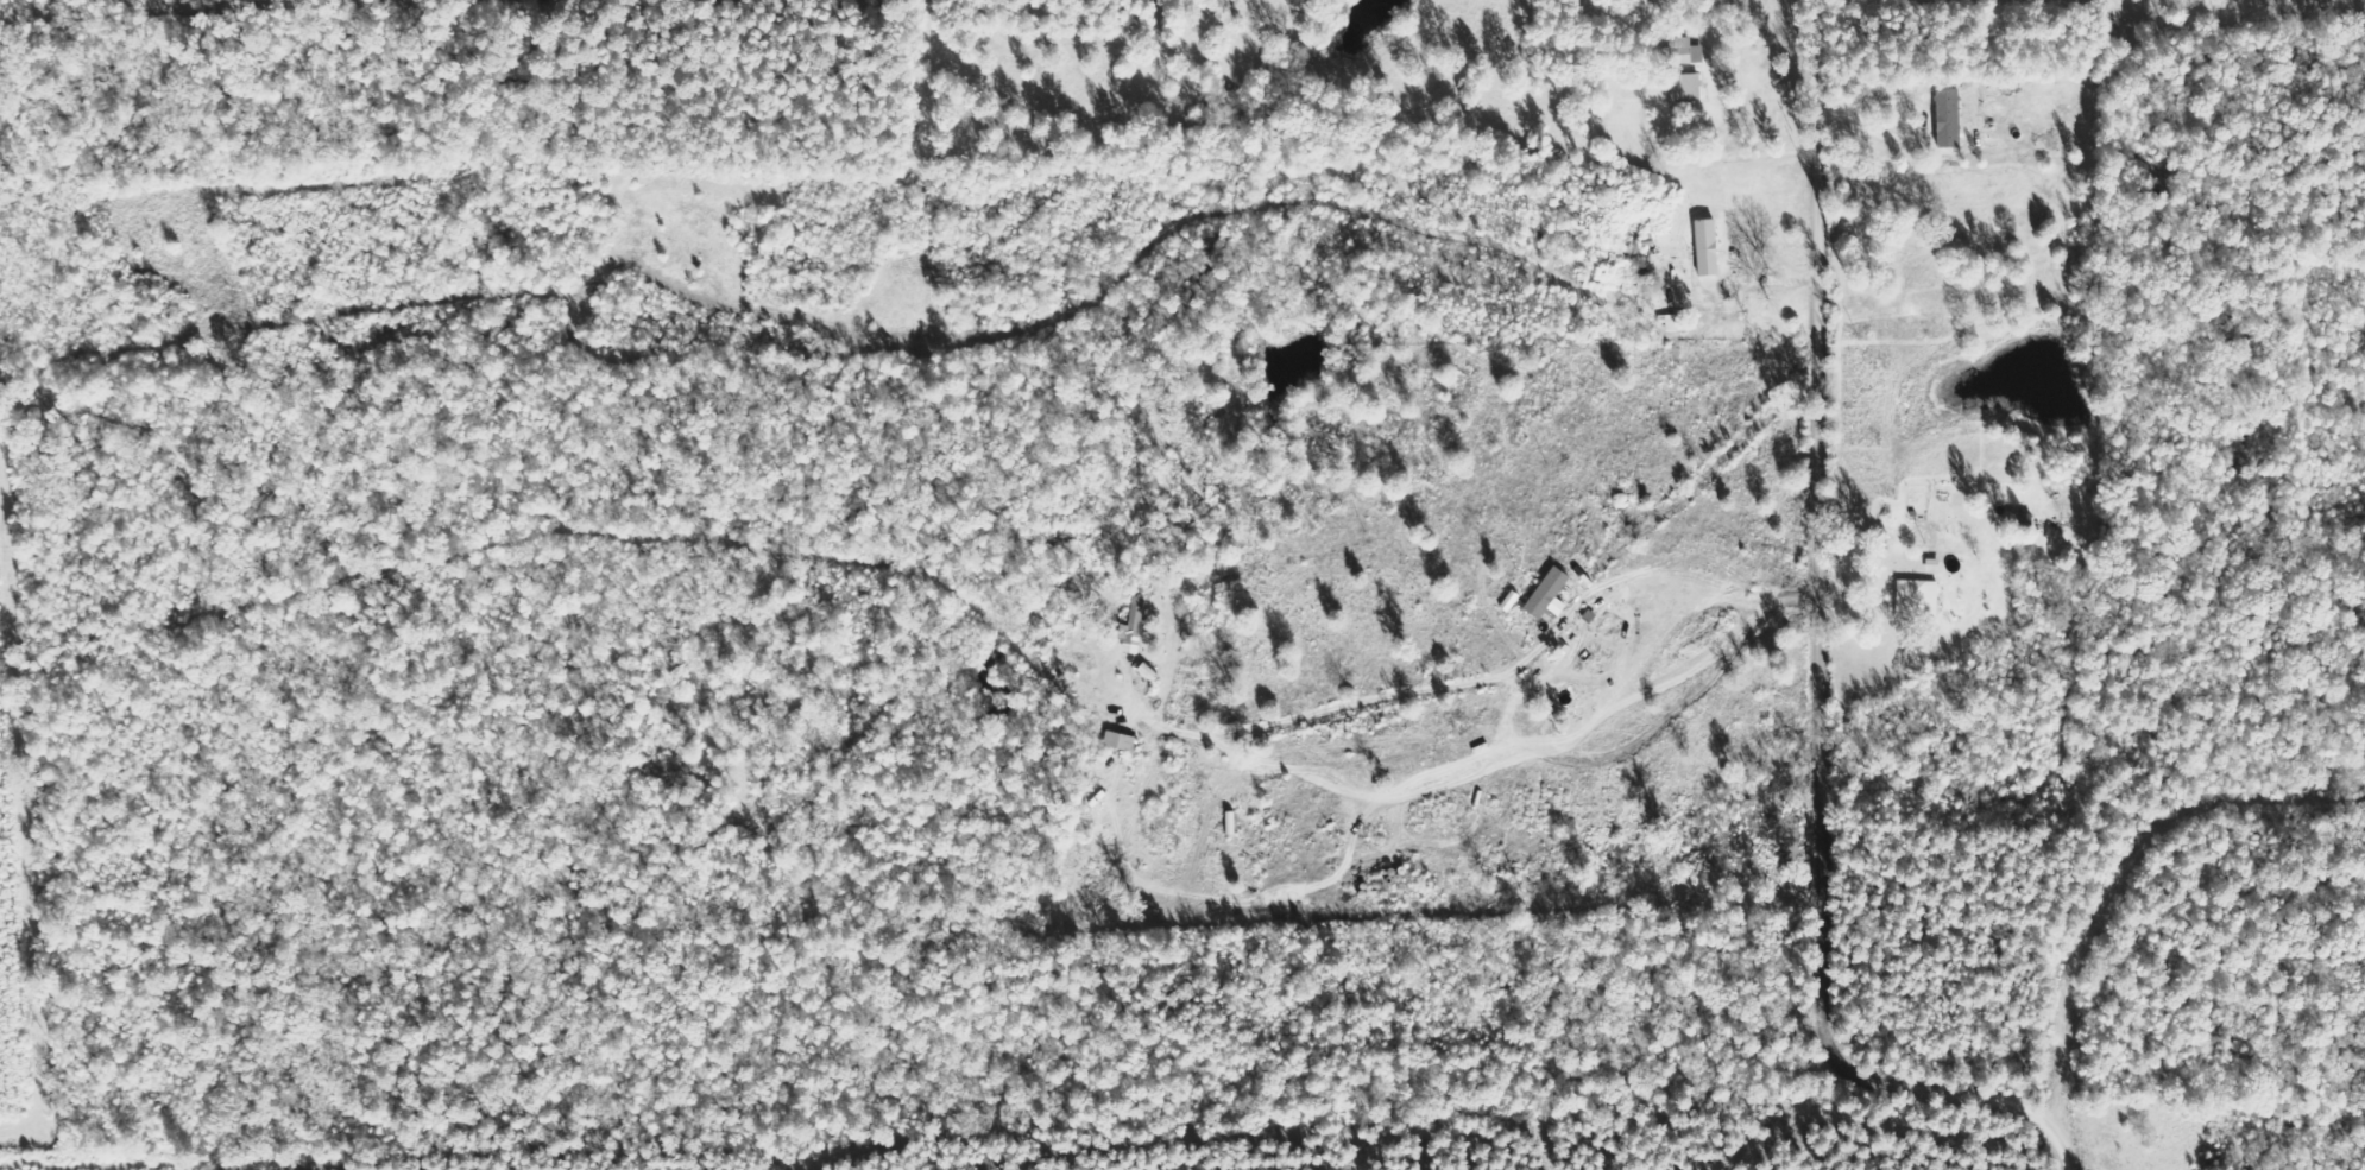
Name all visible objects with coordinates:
building: (1686, 51)
building: (1688, 86)
building: (1949, 118)
building: (1708, 247)
building: (1679, 323)
building: (2023, 519)
building: (1550, 595)
building: (1917, 596)
building: (1134, 624)
road: (1806, 631)
building: (1121, 741)

